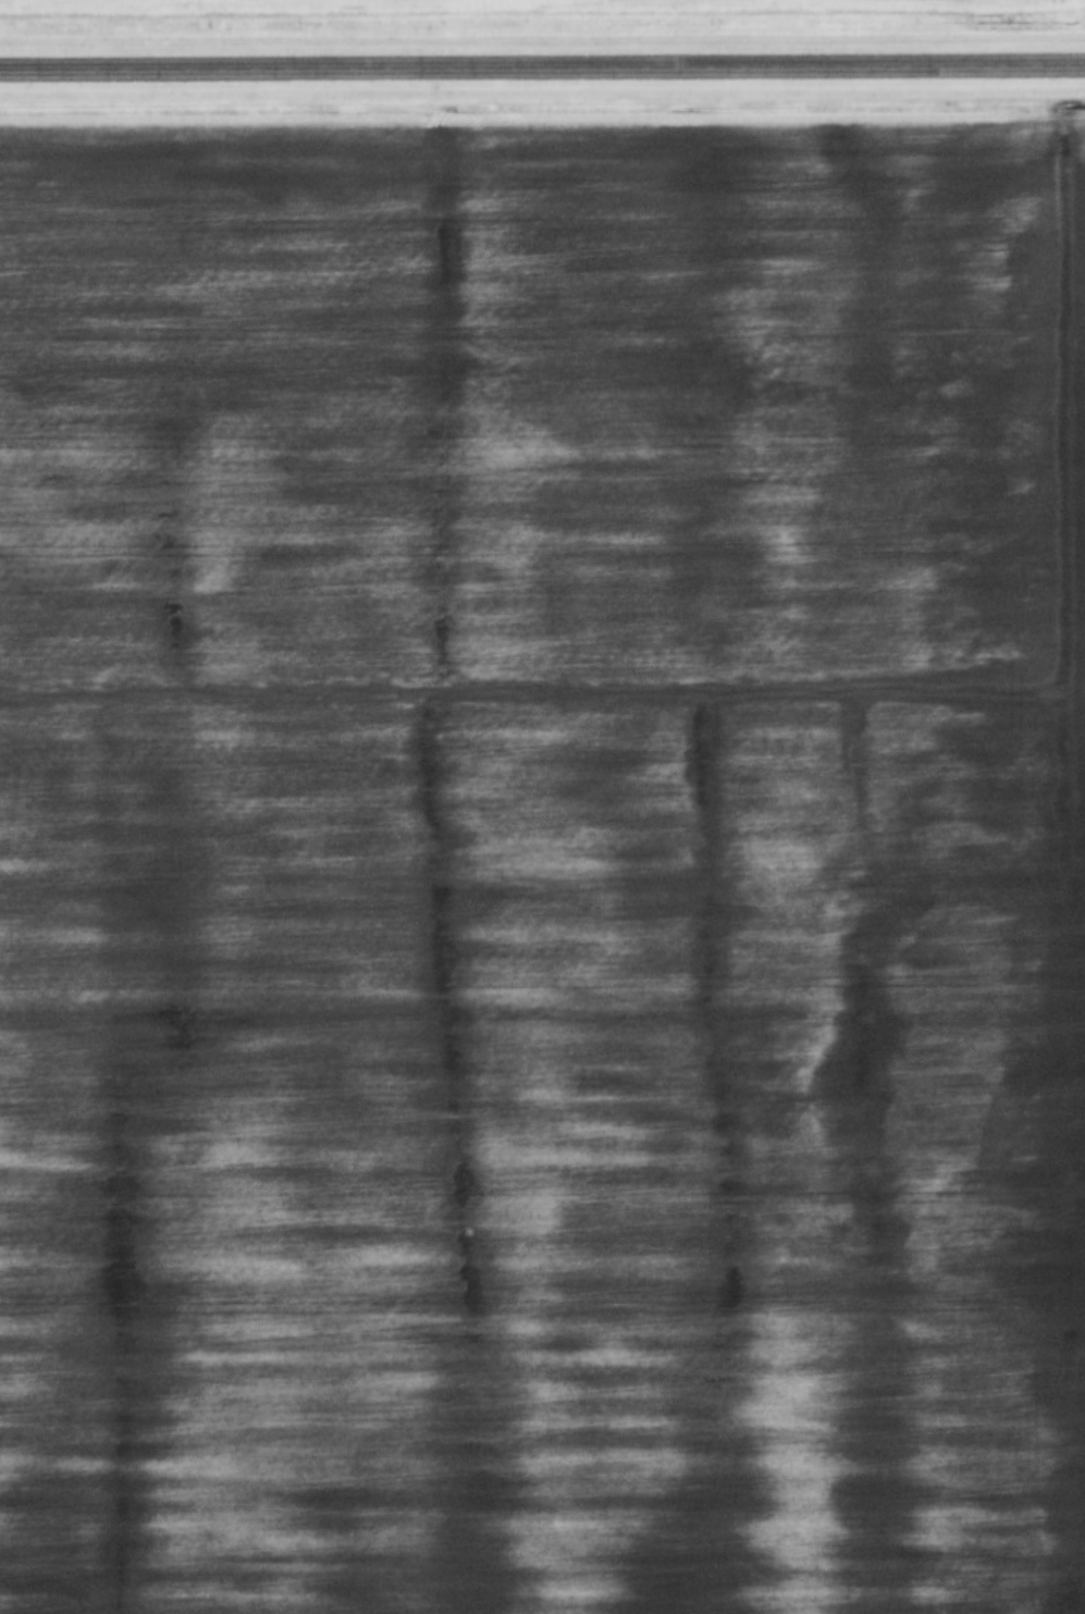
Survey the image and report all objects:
road: (542, 67)

